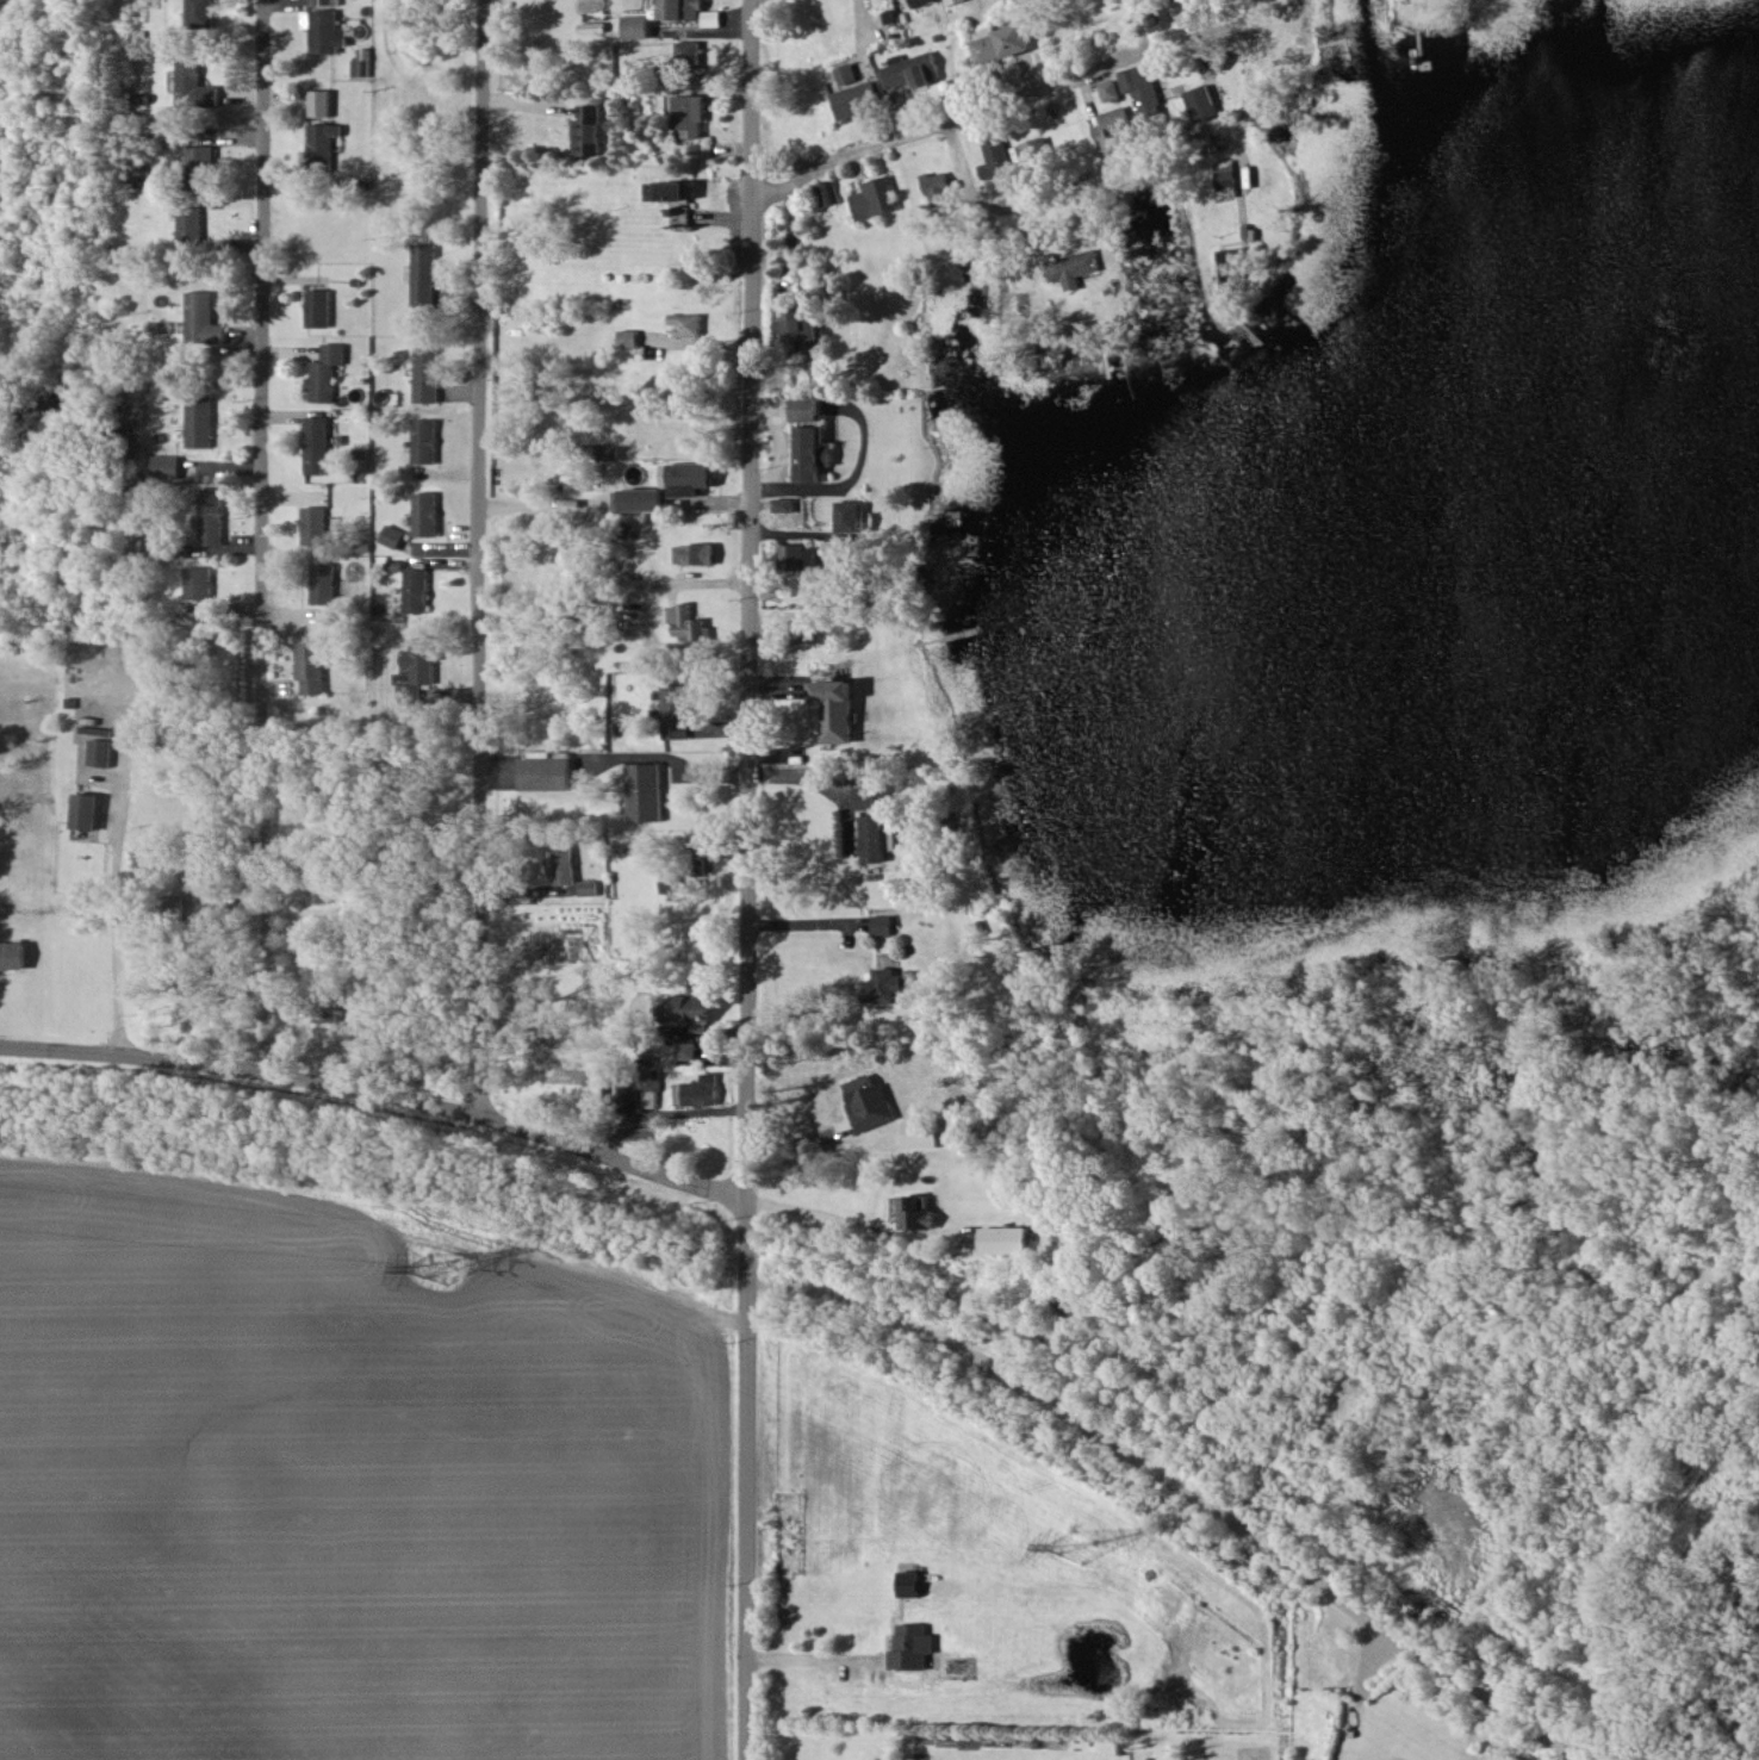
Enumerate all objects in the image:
building: (1174, 0)
building: (323, 1)
building: (951, 1)
building: (919, 2)
building: (680, 10)
building: (201, 13)
building: (711, 18)
building: (635, 26)
building: (324, 30)
building: (1000, 42)
building: (689, 50)
building: (361, 67)
building: (910, 69)
road: (1245, 70)
building: (669, 73)
building: (845, 73)
building: (194, 85)
building: (1108, 89)
building: (1142, 93)
building: (854, 99)
building: (321, 102)
building: (1202, 102)
road: (996, 108)
building: (689, 114)
building: (590, 130)
building: (1114, 131)
building: (321, 143)
building: (1036, 149)
building: (995, 157)
building: (203, 158)
building: (1225, 175)
building: (937, 186)
building: (672, 191)
building: (826, 192)
road: (972, 192)
building: (872, 198)
building: (192, 228)
building: (1073, 267)
building: (1231, 268)
building: (424, 274)
building: (319, 307)
building: (204, 319)
building: (686, 324)
building: (798, 326)
building: (629, 338)
building: (328, 373)
building: (428, 373)
building: (804, 409)
building: (200, 421)
building: (428, 441)
building: (319, 444)
building: (809, 453)
building: (167, 466)
building: (686, 478)
building: (639, 498)
building: (782, 504)
building: (428, 514)
building: (212, 516)
building: (851, 516)
building: (316, 524)
road: (265, 535)
building: (394, 535)
building: (696, 553)
building: (797, 556)
road: (481, 559)
building: (199, 582)
building: (324, 583)
road: (672, 583)
building: (417, 590)
building: (688, 622)
building: (804, 632)
building: (311, 665)
building: (417, 668)
building: (834, 709)
building: (676, 710)
building: (100, 752)
building: (546, 773)
building: (645, 791)
building: (866, 797)
building: (85, 810)
building: (891, 835)
building: (872, 838)
building: (562, 862)
road: (736, 879)
building: (201, 881)
building: (671, 882)
building: (318, 885)
building: (588, 887)
building: (881, 923)
road: (800, 925)
road: (117, 933)
building: (12, 954)
building: (882, 987)
building: (327, 1001)
building: (691, 1007)
building: (354, 1032)
building: (685, 1050)
road: (885, 1063)
building: (635, 1087)
building: (698, 1090)
road: (367, 1093)
building: (869, 1102)
building: (921, 1133)
road: (823, 1208)
building: (916, 1212)
building: (1005, 1238)
power tower: (439, 1267)
power tower: (1079, 1540)
building: (909, 1584)
building: (912, 1646)
road: (808, 1659)

